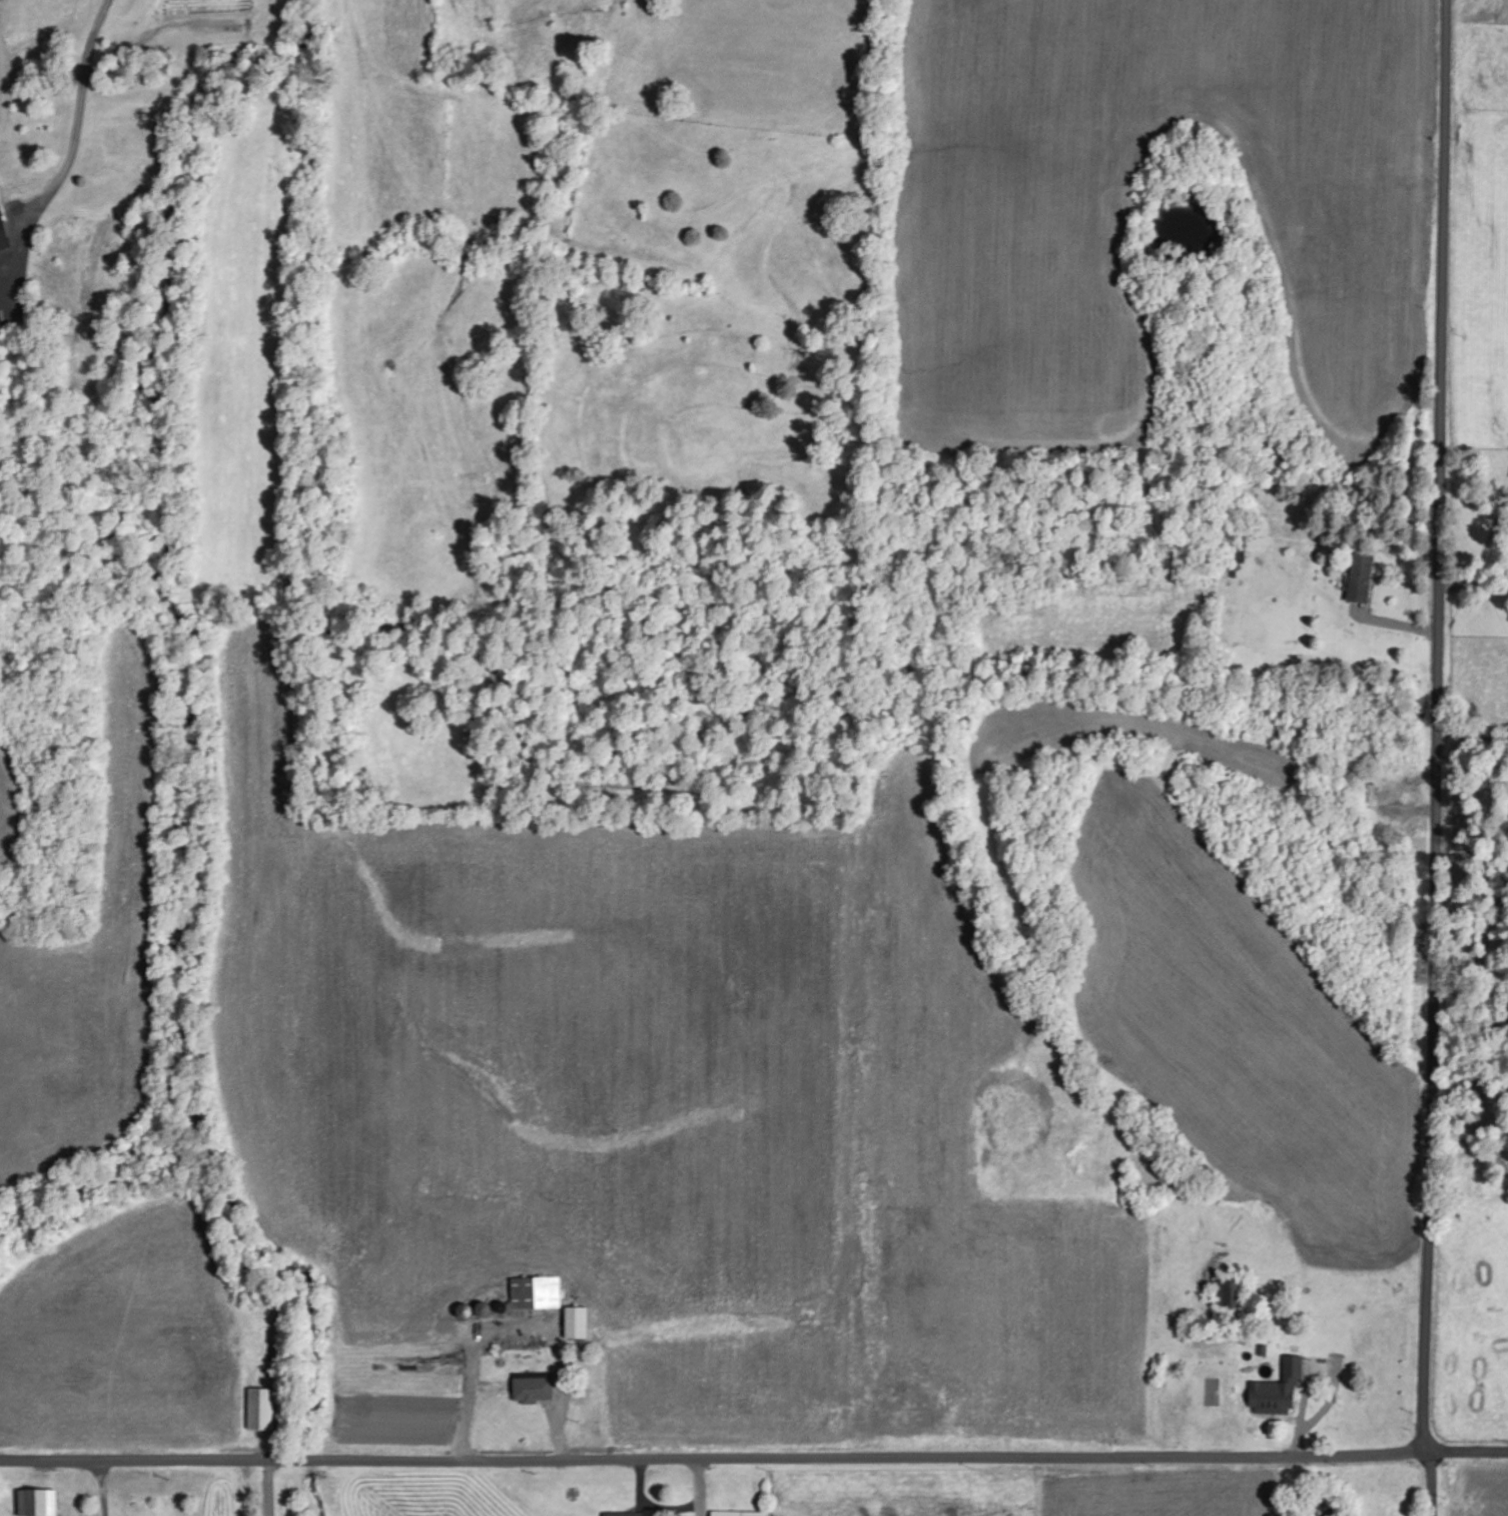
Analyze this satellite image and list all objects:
building: (4, 231)
building: (1362, 580)
road: (1440, 726)
building: (1231, 1293)
building: (537, 1294)
building: (579, 1324)
building: (535, 1389)
building: (1280, 1392)
building: (264, 1410)
road: (1467, 1451)
road: (713, 1458)
road: (1427, 1484)
building: (41, 1503)
building: (628, 1514)
building: (740, 1514)

